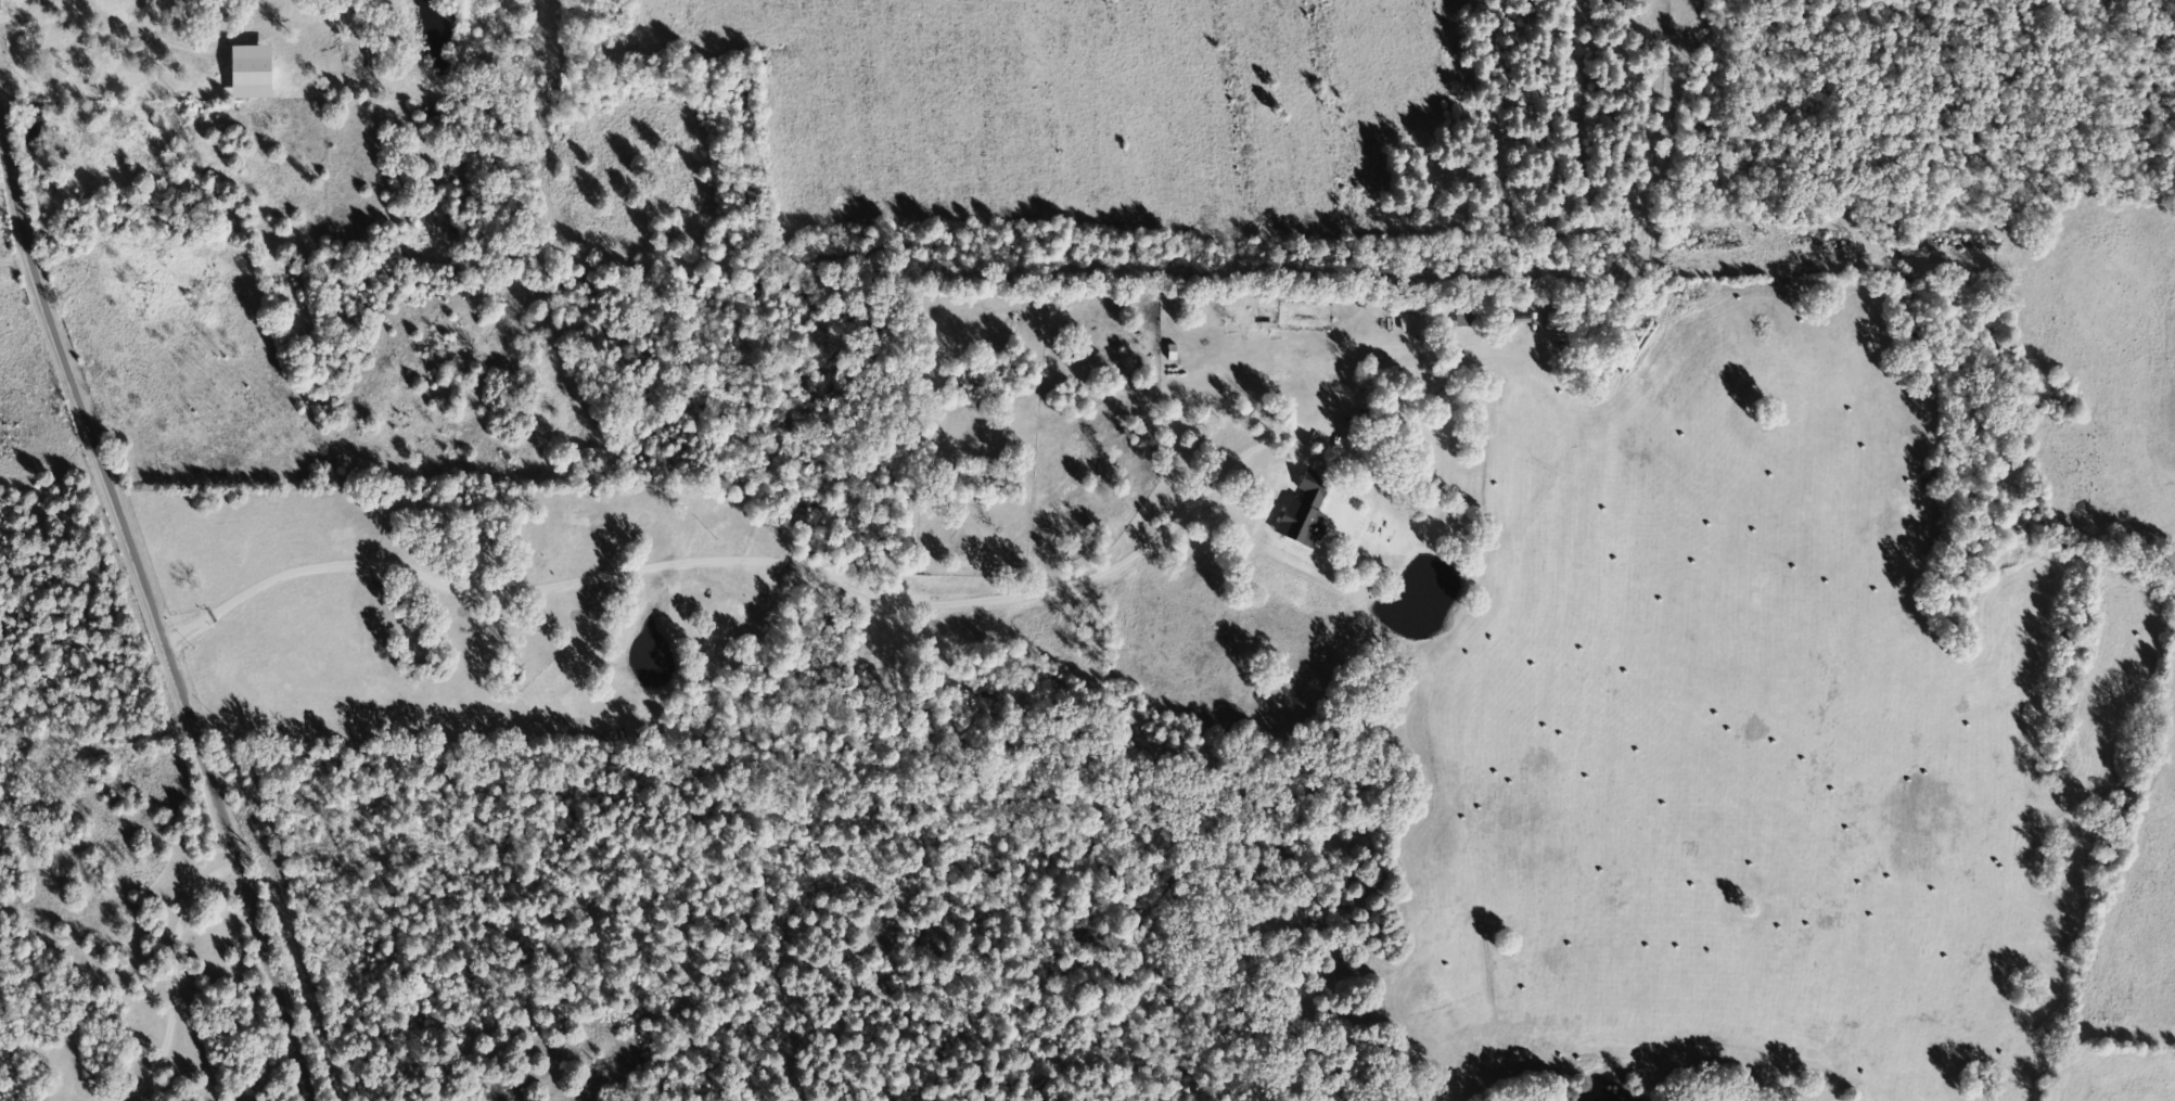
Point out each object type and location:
building: (256, 74)
building: (1468, 321)
building: (1308, 515)
road: (148, 594)

